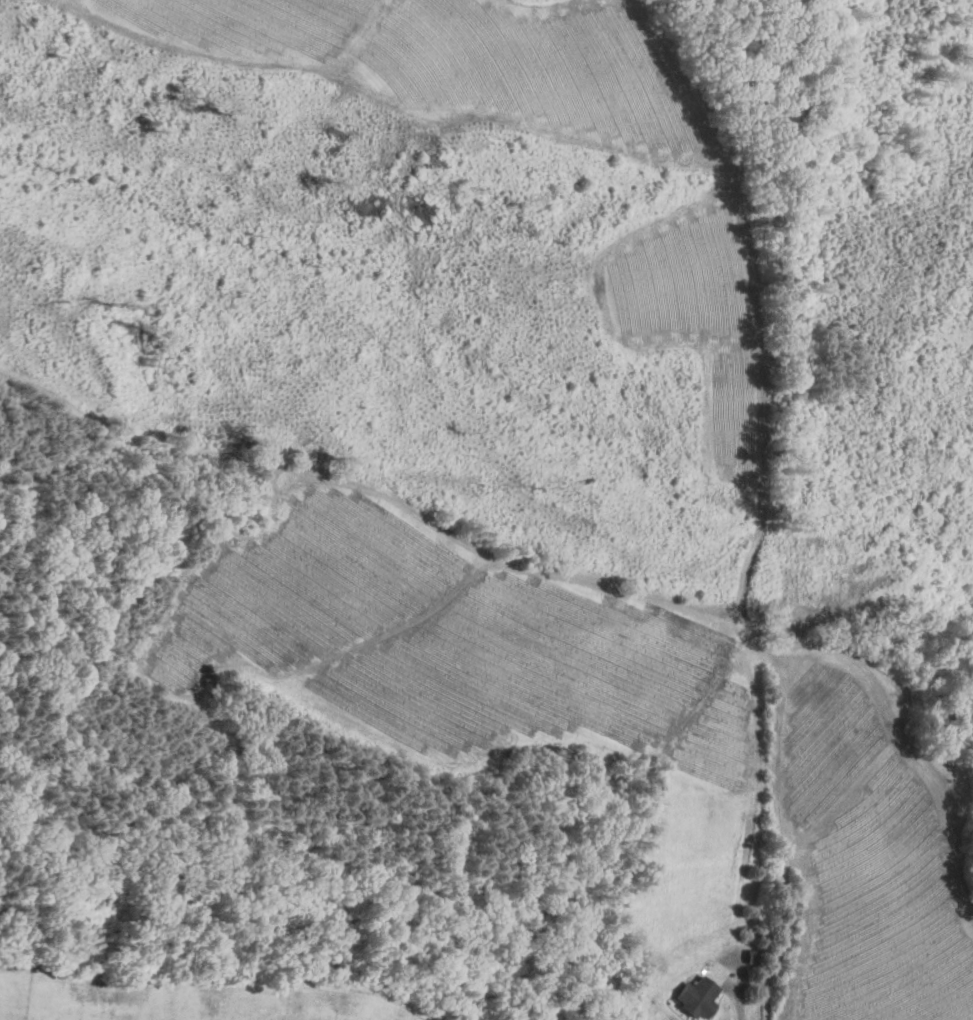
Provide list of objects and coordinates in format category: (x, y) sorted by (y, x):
building: (753, 955)
building: (697, 996)
road: (731, 1015)

